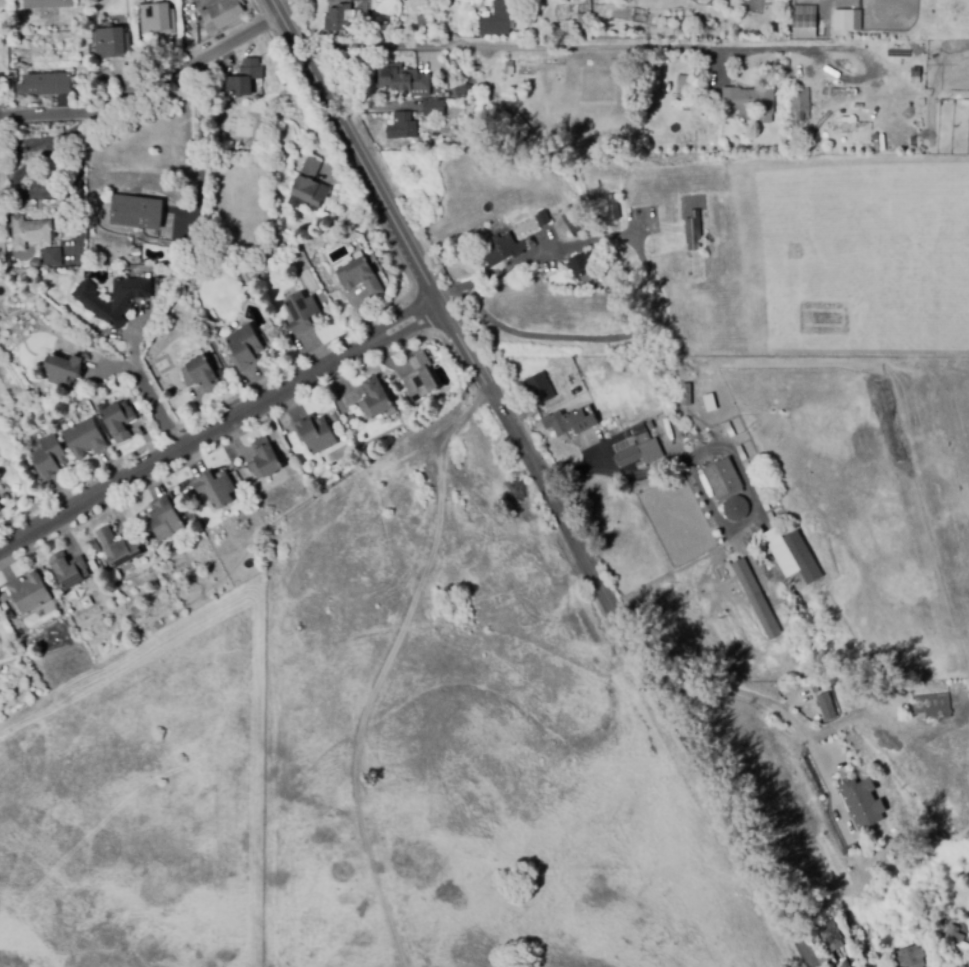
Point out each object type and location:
building: (189, 0)
building: (47, 4)
building: (222, 15)
building: (857, 18)
building: (157, 19)
building: (497, 19)
building: (341, 20)
building: (804, 20)
building: (845, 20)
building: (422, 25)
building: (112, 43)
road: (556, 45)
building: (242, 79)
building: (401, 79)
building: (682, 83)
building: (45, 84)
road: (146, 89)
building: (459, 91)
building: (844, 91)
building: (825, 94)
building: (748, 100)
building: (800, 103)
building: (433, 108)
building: (468, 108)
building: (402, 127)
road: (203, 140)
road: (17, 181)
road: (72, 186)
building: (308, 188)
building: (612, 207)
building: (136, 212)
building: (542, 219)
building: (569, 220)
building: (693, 231)
building: (30, 232)
building: (503, 250)
building: (190, 255)
building: (53, 257)
road: (533, 257)
building: (35, 263)
building: (582, 265)
building: (360, 277)
building: (95, 303)
building: (303, 314)
building: (245, 348)
building: (63, 370)
road: (113, 370)
building: (201, 374)
building: (419, 378)
road: (143, 382)
building: (549, 392)
building: (686, 395)
building: (375, 399)
building: (710, 403)
building: (891, 419)
building: (119, 421)
building: (569, 422)
road: (218, 426)
building: (650, 426)
building: (728, 429)
building: (315, 434)
building: (640, 434)
building: (84, 438)
building: (632, 443)
building: (640, 453)
building: (741, 453)
building: (48, 458)
building: (264, 460)
building: (641, 465)
road: (581, 466)
building: (748, 470)
building: (723, 478)
road: (540, 484)
building: (757, 486)
building: (216, 488)
building: (186, 494)
building: (764, 503)
building: (0, 508)
building: (735, 508)
building: (164, 516)
building: (772, 519)
building: (94, 546)
building: (118, 547)
building: (730, 554)
building: (795, 556)
building: (69, 570)
building: (28, 592)
building: (756, 598)
building: (5, 607)
building: (10, 615)
building: (864, 690)
building: (961, 695)
building: (968, 695)
building: (826, 704)
building: (932, 706)
road: (782, 712)
building: (849, 748)
building: (856, 794)
building: (895, 835)
building: (894, 859)
building: (827, 933)
building: (955, 939)
building: (910, 956)
building: (962, 965)

